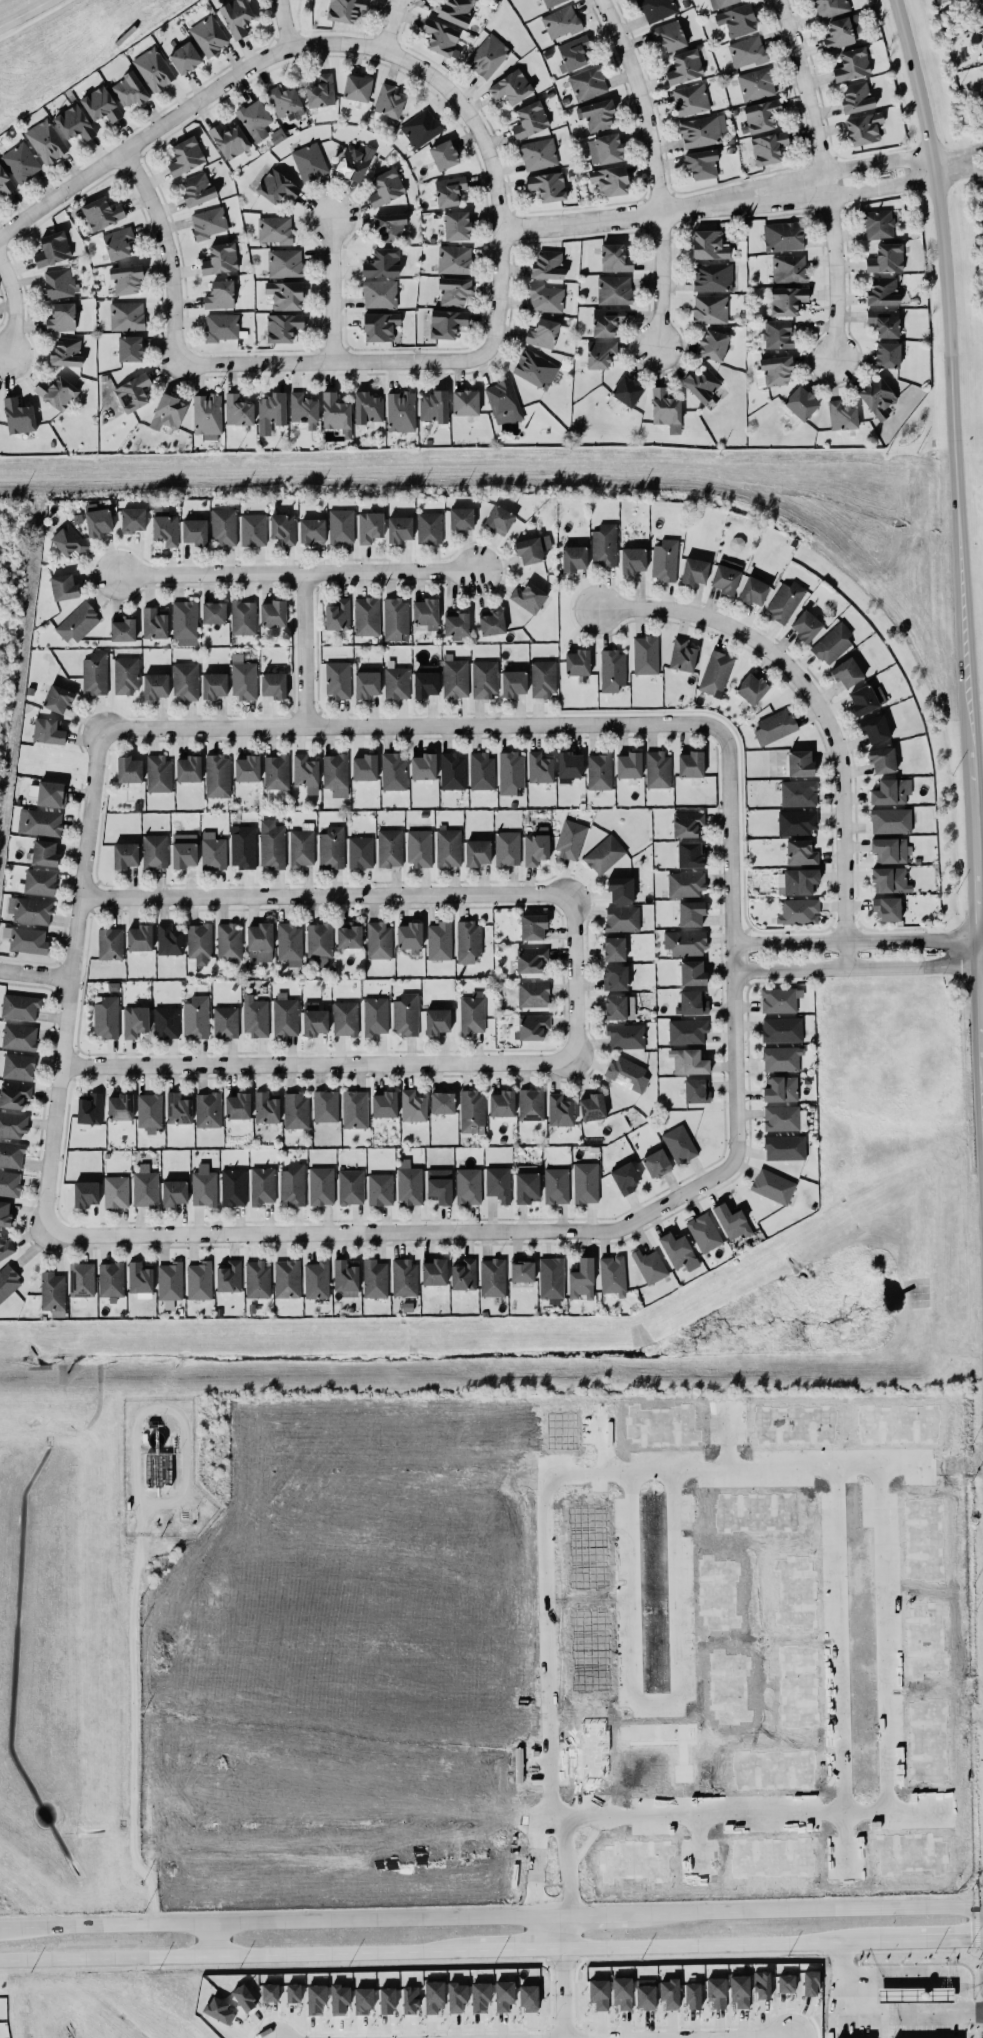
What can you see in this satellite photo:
building: (551, 2)
building: (982, 2)
building: (721, 3)
building: (830, 7)
building: (657, 9)
building: (345, 10)
building: (456, 11)
road: (22, 13)
building: (236, 16)
building: (736, 20)
building: (561, 22)
road: (278, 23)
road: (389, 26)
building: (842, 31)
building: (982, 31)
building: (209, 35)
building: (669, 35)
building: (440, 36)
road: (328, 42)
building: (747, 51)
building: (573, 53)
building: (488, 56)
building: (185, 57)
building: (852, 64)
building: (684, 66)
building: (154, 69)
building: (588, 83)
building: (756, 83)
building: (511, 86)
building: (357, 87)
building: (130, 89)
building: (321, 91)
building: (856, 97)
building: (690, 99)
building: (388, 101)
building: (285, 102)
building: (101, 104)
building: (598, 115)
building: (761, 115)
building: (255, 119)
building: (530, 119)
building: (74, 122)
building: (421, 128)
building: (864, 128)
building: (702, 130)
building: (229, 139)
building: (46, 140)
building: (767, 148)
building: (605, 149)
building: (538, 153)
building: (444, 154)
building: (186, 156)
building: (309, 162)
building: (354, 162)
building: (701, 163)
road: (961, 165)
building: (17, 166)
road: (649, 168)
road: (822, 178)
building: (610, 180)
building: (548, 185)
building: (276, 186)
building: (386, 187)
building: (197, 188)
building: (449, 190)
road: (719, 202)
building: (102, 212)
building: (209, 222)
building: (878, 224)
building: (456, 225)
building: (390, 226)
building: (275, 229)
building: (783, 235)
building: (118, 242)
building: (709, 244)
building: (52, 248)
building: (220, 258)
building: (615, 258)
building: (886, 258)
building: (454, 259)
building: (284, 262)
building: (383, 262)
building: (548, 264)
building: (789, 268)
building: (712, 276)
building: (126, 278)
building: (58, 282)
road: (331, 287)
building: (614, 289)
building: (453, 291)
building: (883, 291)
building: (379, 293)
building: (220, 294)
building: (285, 294)
building: (545, 297)
building: (786, 300)
road: (954, 301)
building: (710, 309)
road: (13, 311)
building: (127, 315)
building: (61, 317)
building: (606, 321)
building: (884, 322)
building: (446, 323)
road: (170, 325)
building: (380, 325)
building: (221, 326)
building: (282, 326)
building: (542, 333)
building: (778, 334)
building: (713, 344)
building: (130, 348)
building: (66, 351)
building: (600, 353)
building: (887, 354)
road: (418, 357)
building: (535, 368)
building: (773, 370)
building: (702, 383)
building: (627, 390)
building: (57, 392)
building: (132, 392)
building: (877, 397)
building: (503, 401)
building: (465, 402)
building: (801, 402)
building: (434, 406)
building: (367, 407)
building: (272, 408)
building: (666, 409)
building: (238, 410)
building: (401, 411)
building: (168, 412)
building: (336, 413)
building: (207, 415)
building: (842, 415)
building: (18, 416)
building: (133, 518)
building: (461, 518)
building: (98, 519)
building: (499, 519)
building: (165, 525)
building: (224, 526)
building: (341, 526)
building: (370, 526)
building: (283, 527)
building: (429, 527)
building: (400, 528)
building: (253, 529)
building: (194, 531)
building: (312, 531)
building: (69, 540)
building: (604, 544)
building: (532, 548)
building: (574, 558)
building: (633, 560)
building: (665, 560)
building: (694, 570)
road: (296, 574)
building: (726, 576)
building: (64, 587)
building: (753, 590)
building: (529, 597)
building: (785, 601)
building: (213, 612)
building: (426, 612)
building: (272, 613)
building: (338, 614)
building: (366, 616)
building: (243, 617)
building: (395, 618)
building: (185, 619)
building: (492, 621)
building: (77, 623)
building: (154, 623)
building: (456, 624)
building: (806, 625)
building: (123, 628)
building: (833, 642)
road: (304, 648)
building: (645, 654)
building: (682, 655)
building: (578, 662)
building: (612, 670)
building: (847, 672)
building: (95, 673)
building: (716, 673)
building: (126, 675)
building: (455, 676)
building: (543, 677)
building: (484, 678)
building: (337, 679)
building: (185, 680)
building: (244, 680)
building: (425, 681)
building: (397, 682)
building: (513, 682)
building: (274, 684)
building: (367, 684)
building: (214, 685)
building: (155, 686)
building: (751, 688)
building: (58, 698)
building: (866, 698)
road: (823, 710)
road: (413, 722)
building: (775, 726)
building: (875, 728)
building: (48, 731)
building: (882, 760)
building: (800, 763)
building: (629, 764)
building: (690, 764)
building: (423, 766)
building: (569, 766)
building: (364, 767)
building: (540, 767)
building: (188, 768)
building: (247, 768)
building: (129, 769)
building: (658, 769)
building: (394, 770)
building: (600, 770)
building: (276, 771)
building: (453, 771)
building: (482, 771)
building: (510, 772)
building: (159, 773)
building: (306, 773)
building: (335, 773)
building: (218, 775)
building: (891, 791)
building: (798, 793)
building: (51, 794)
building: (890, 820)
building: (40, 822)
building: (796, 822)
building: (687, 823)
road: (975, 834)
building: (570, 838)
building: (272, 844)
building: (302, 845)
building: (537, 845)
building: (243, 846)
building: (448, 846)
building: (331, 847)
building: (390, 847)
building: (419, 847)
building: (507, 848)
building: (889, 849)
building: (184, 850)
building: (155, 851)
building: (213, 851)
building: (360, 851)
building: (44, 852)
building: (478, 852)
building: (801, 852)
building: (125, 854)
building: (604, 854)
building: (690, 855)
building: (890, 879)
building: (800, 880)
building: (40, 881)
building: (686, 883)
building: (621, 888)
road: (329, 894)
building: (887, 908)
building: (30, 909)
building: (799, 911)
building: (691, 913)
building: (622, 918)
building: (533, 926)
building: (349, 935)
building: (409, 935)
building: (140, 937)
building: (169, 939)
building: (28, 940)
building: (379, 940)
building: (439, 940)
road: (860, 940)
building: (229, 941)
building: (468, 941)
building: (199, 942)
building: (260, 942)
building: (319, 942)
building: (685, 942)
building: (110, 943)
building: (290, 943)
building: (614, 948)
building: (531, 959)
road: (859, 969)
building: (692, 972)
road: (34, 976)
road: (578, 976)
road: (68, 977)
building: (615, 977)
building: (533, 994)
building: (780, 999)
building: (692, 1003)
building: (20, 1006)
building: (615, 1007)
building: (472, 1012)
building: (405, 1014)
building: (285, 1015)
building: (375, 1015)
building: (106, 1016)
building: (196, 1016)
building: (255, 1017)
road: (737, 1017)
building: (314, 1018)
building: (346, 1018)
building: (135, 1021)
building: (437, 1021)
building: (166, 1022)
building: (225, 1022)
building: (533, 1026)
building: (782, 1029)
building: (687, 1031)
building: (626, 1035)
building: (19, 1036)
building: (782, 1058)
building: (688, 1061)
road: (319, 1063)
building: (18, 1066)
building: (627, 1073)
building: (780, 1088)
building: (697, 1090)
building: (14, 1094)
building: (442, 1102)
building: (502, 1103)
building: (384, 1104)
building: (531, 1104)
building: (238, 1105)
building: (325, 1105)
building: (120, 1106)
building: (413, 1106)
building: (266, 1107)
building: (592, 1107)
building: (89, 1108)
building: (178, 1108)
building: (208, 1109)
building: (296, 1109)
building: (355, 1109)
building: (560, 1110)
building: (149, 1111)
building: (472, 1111)
building: (783, 1118)
building: (13, 1124)
building: (680, 1143)
building: (784, 1147)
building: (11, 1154)
building: (656, 1163)
building: (625, 1177)
building: (409, 1182)
building: (585, 1182)
building: (10, 1183)
building: (498, 1183)
building: (526, 1183)
building: (292, 1184)
building: (262, 1185)
building: (321, 1185)
building: (439, 1185)
building: (556, 1185)
building: (145, 1186)
building: (204, 1186)
building: (350, 1186)
building: (468, 1186)
building: (773, 1186)
building: (233, 1187)
building: (380, 1188)
building: (116, 1191)
building: (174, 1192)
building: (85, 1193)
building: (5, 1213)
building: (732, 1221)
road: (326, 1232)
building: (704, 1232)
building: (5, 1248)
building: (678, 1251)
building: (649, 1265)
building: (522, 1270)
building: (434, 1271)
building: (464, 1274)
building: (613, 1274)
building: (229, 1276)
building: (404, 1276)
building: (492, 1276)
building: (140, 1277)
building: (346, 1277)
building: (81, 1278)
building: (257, 1278)
building: (287, 1278)
building: (375, 1278)
building: (582, 1278)
building: (111, 1279)
building: (317, 1279)
building: (170, 1280)
building: (199, 1280)
building: (8, 1281)
building: (52, 1290)
road: (600, 1443)
road: (730, 1443)
road: (570, 1476)
road: (891, 1640)
road: (842, 1641)
road: (657, 1704)
road: (724, 1814)
road: (586, 1843)
road: (848, 1844)
road: (702, 1847)
road: (567, 1864)
road: (538, 1867)
road: (554, 1910)
road: (808, 1911)
road: (594, 1915)
road: (276, 1921)
road: (214, 1939)
traffic signals: (970, 1940)
road: (920, 1941)
road: (706, 1945)
road: (512, 1950)
road: (234, 1955)
road: (556, 1976)
road: (921, 1977)
building: (810, 1982)
building: (786, 1983)
building: (762, 1984)
building: (716, 1991)
building: (740, 1991)
building: (269, 1992)
building: (293, 1992)
road: (839, 1992)
building: (599, 1993)
building: (622, 1993)
building: (645, 1993)
building: (669, 1993)
building: (434, 1995)
building: (457, 1995)
building: (504, 1995)
building: (692, 1995)
building: (480, 1996)
building: (244, 1997)
building: (339, 1998)
building: (529, 1998)
building: (410, 1999)
building: (363, 2000)
building: (387, 2000)
building: (220, 2010)
road: (905, 2028)
road: (647, 2036)

